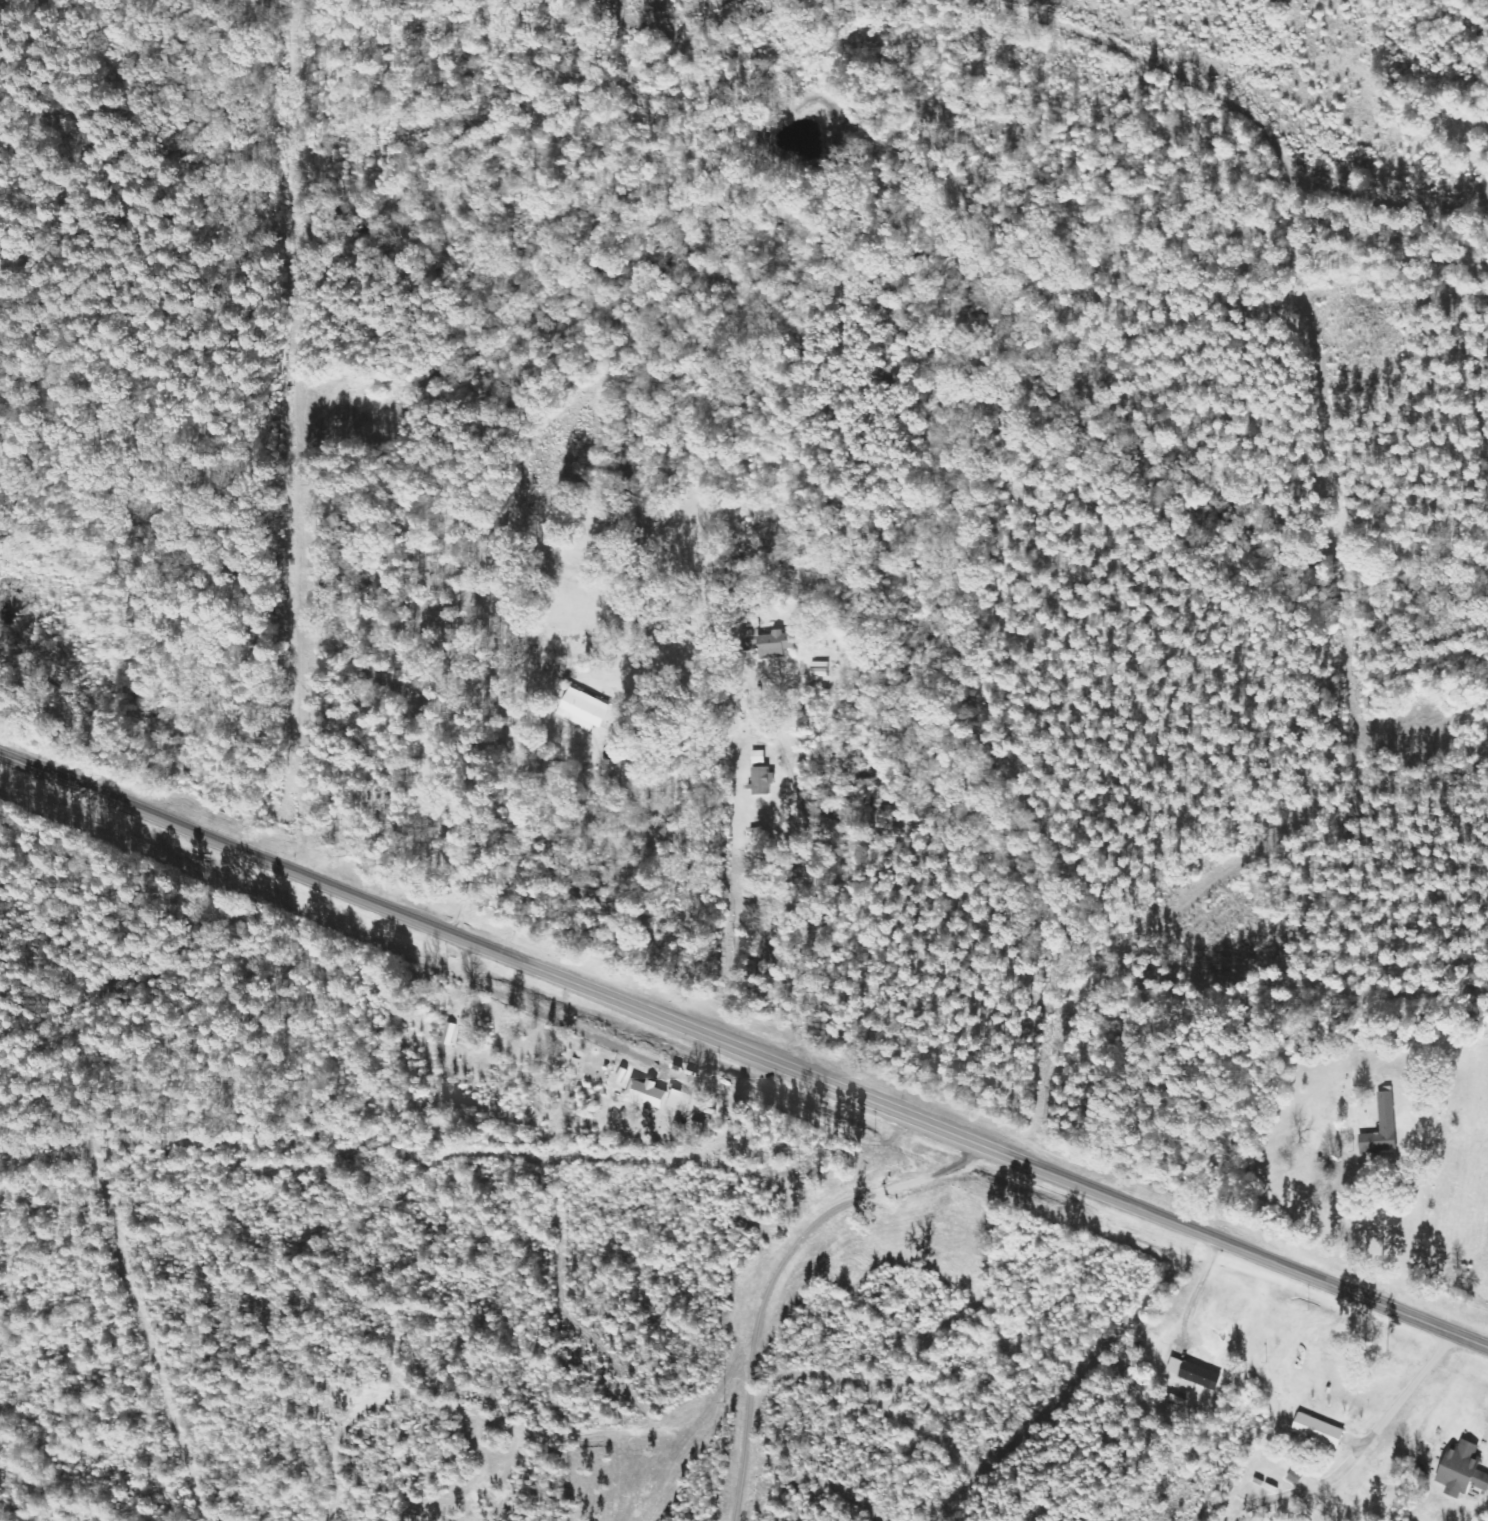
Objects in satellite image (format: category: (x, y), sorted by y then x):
building: (773, 646)
building: (582, 710)
building: (759, 758)
building: (761, 781)
road: (422, 923)
building: (652, 1095)
building: (684, 1101)
building: (1386, 1128)
road: (1165, 1221)
road: (1417, 1243)
road: (1460, 1275)
building: (1196, 1374)
road: (1411, 1392)
building: (1322, 1432)
building: (1460, 1470)

